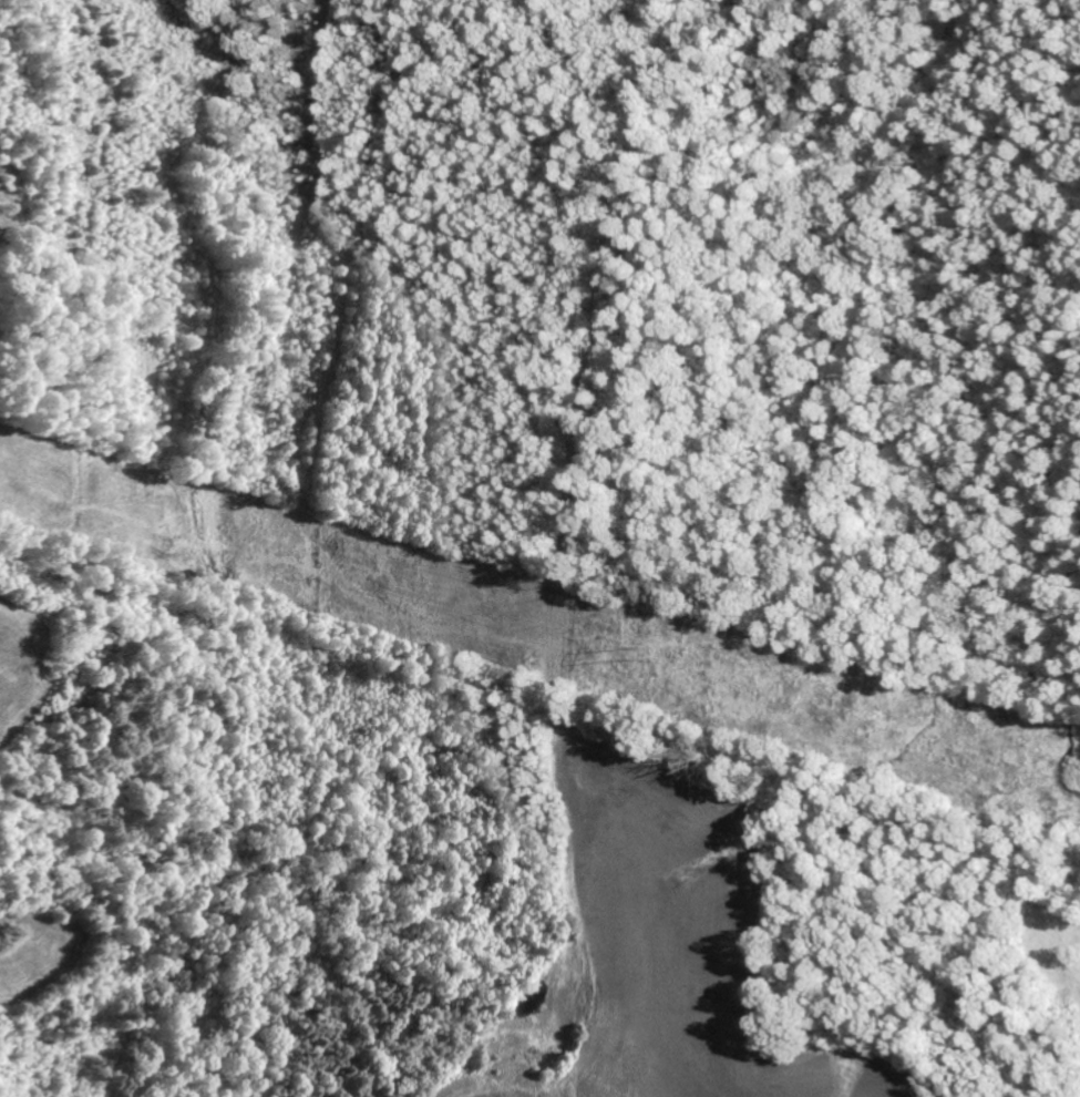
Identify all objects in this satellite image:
power tower: (640, 657)

